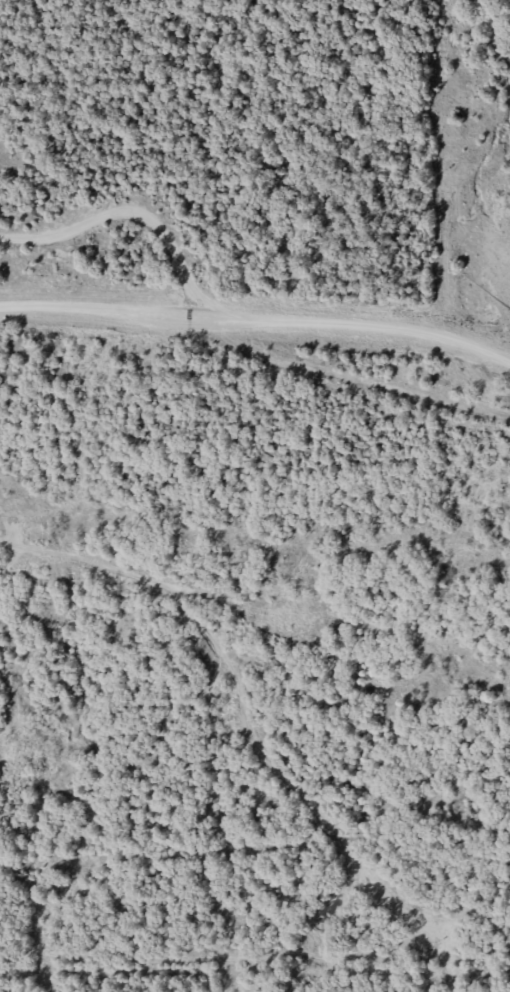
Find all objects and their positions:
road: (173, 860)

